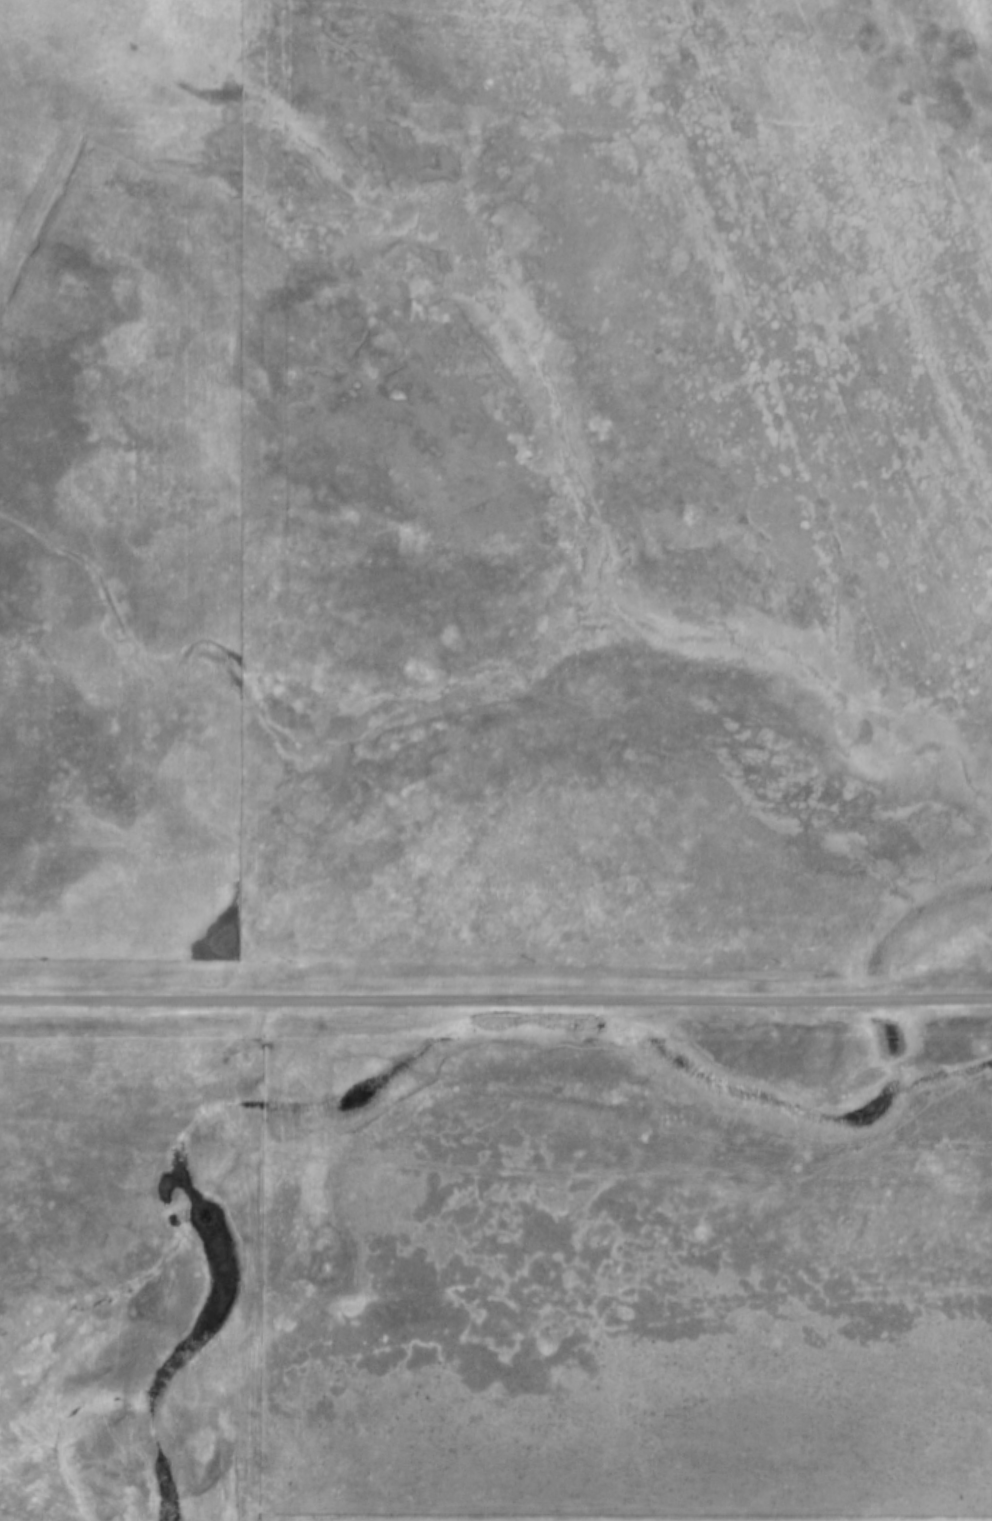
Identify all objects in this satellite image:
road: (496, 1002)

